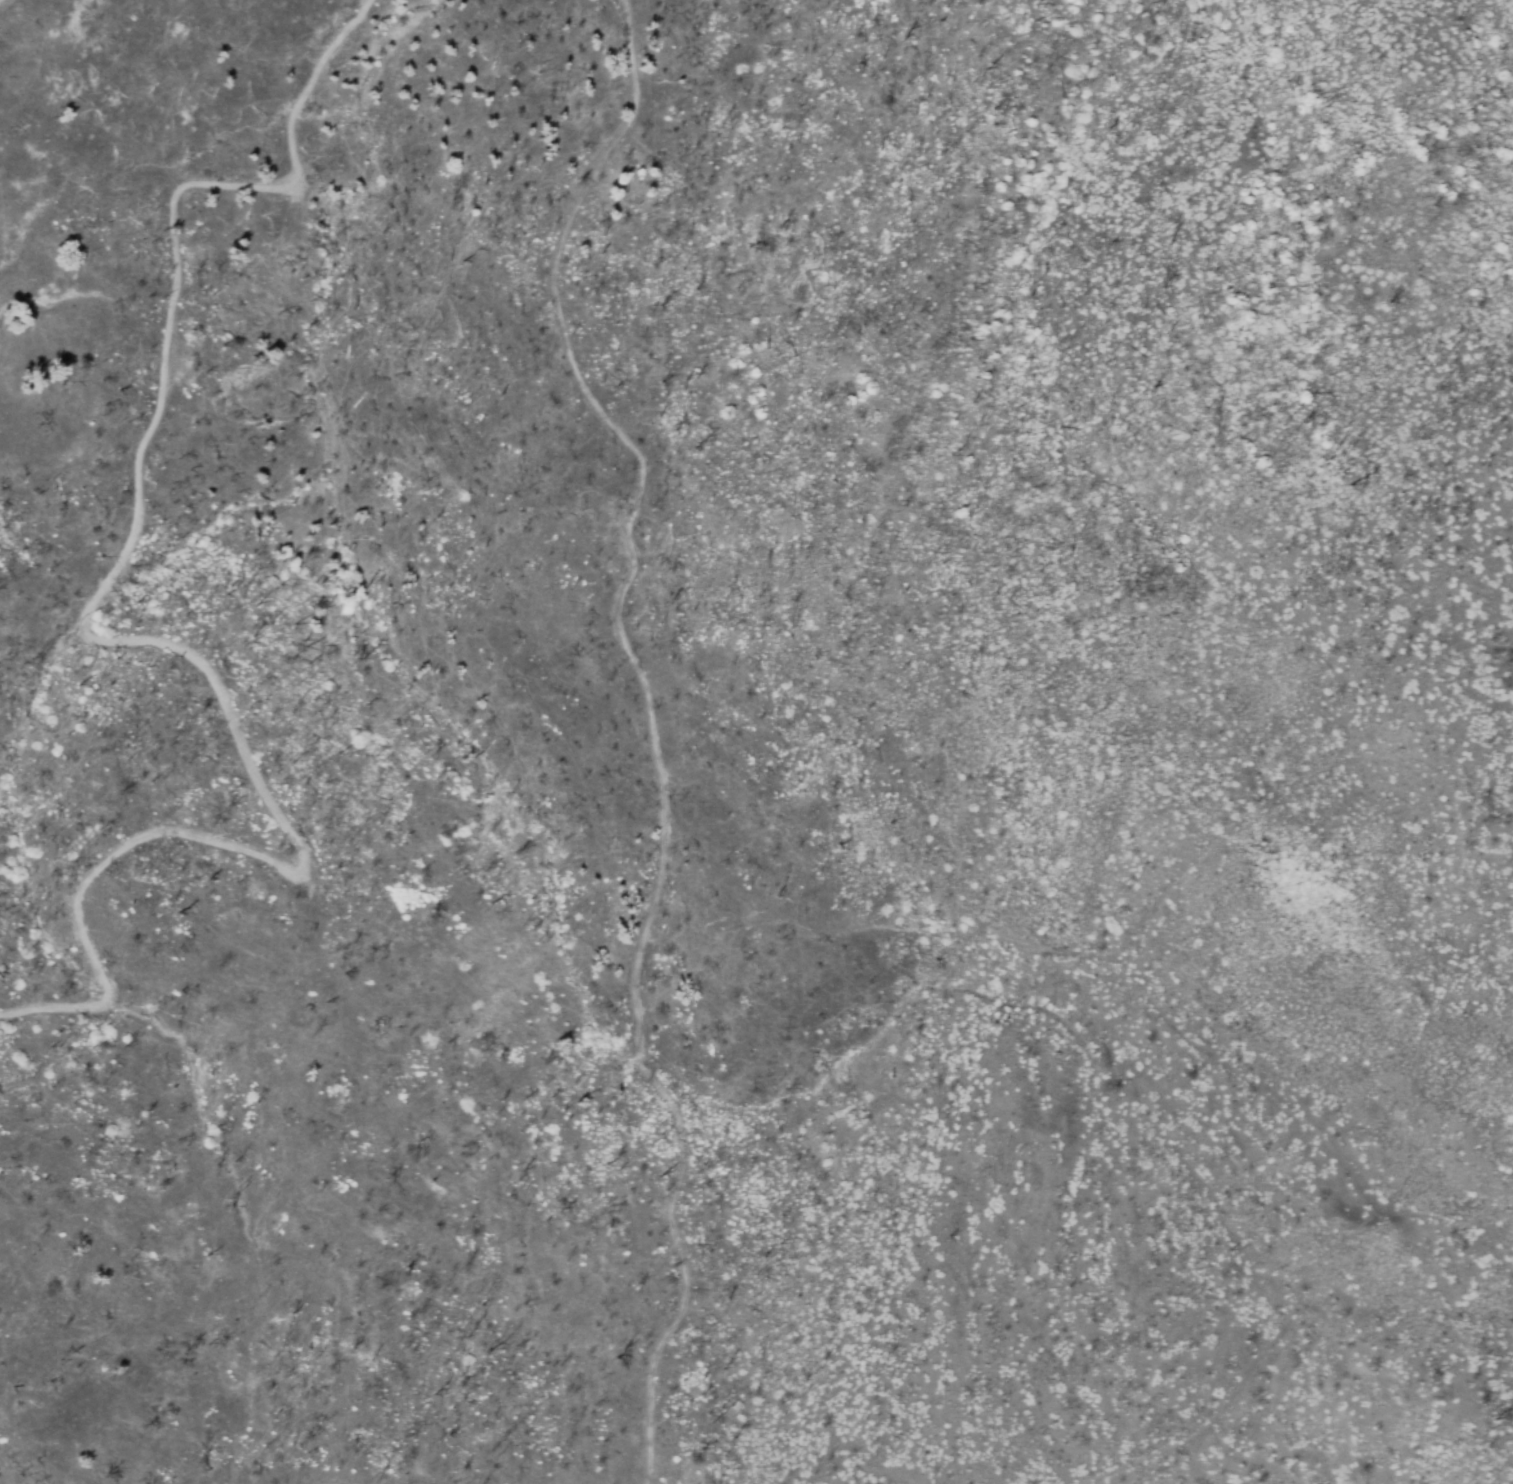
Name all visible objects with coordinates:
road: (855, 123)
road: (541, 1030)

